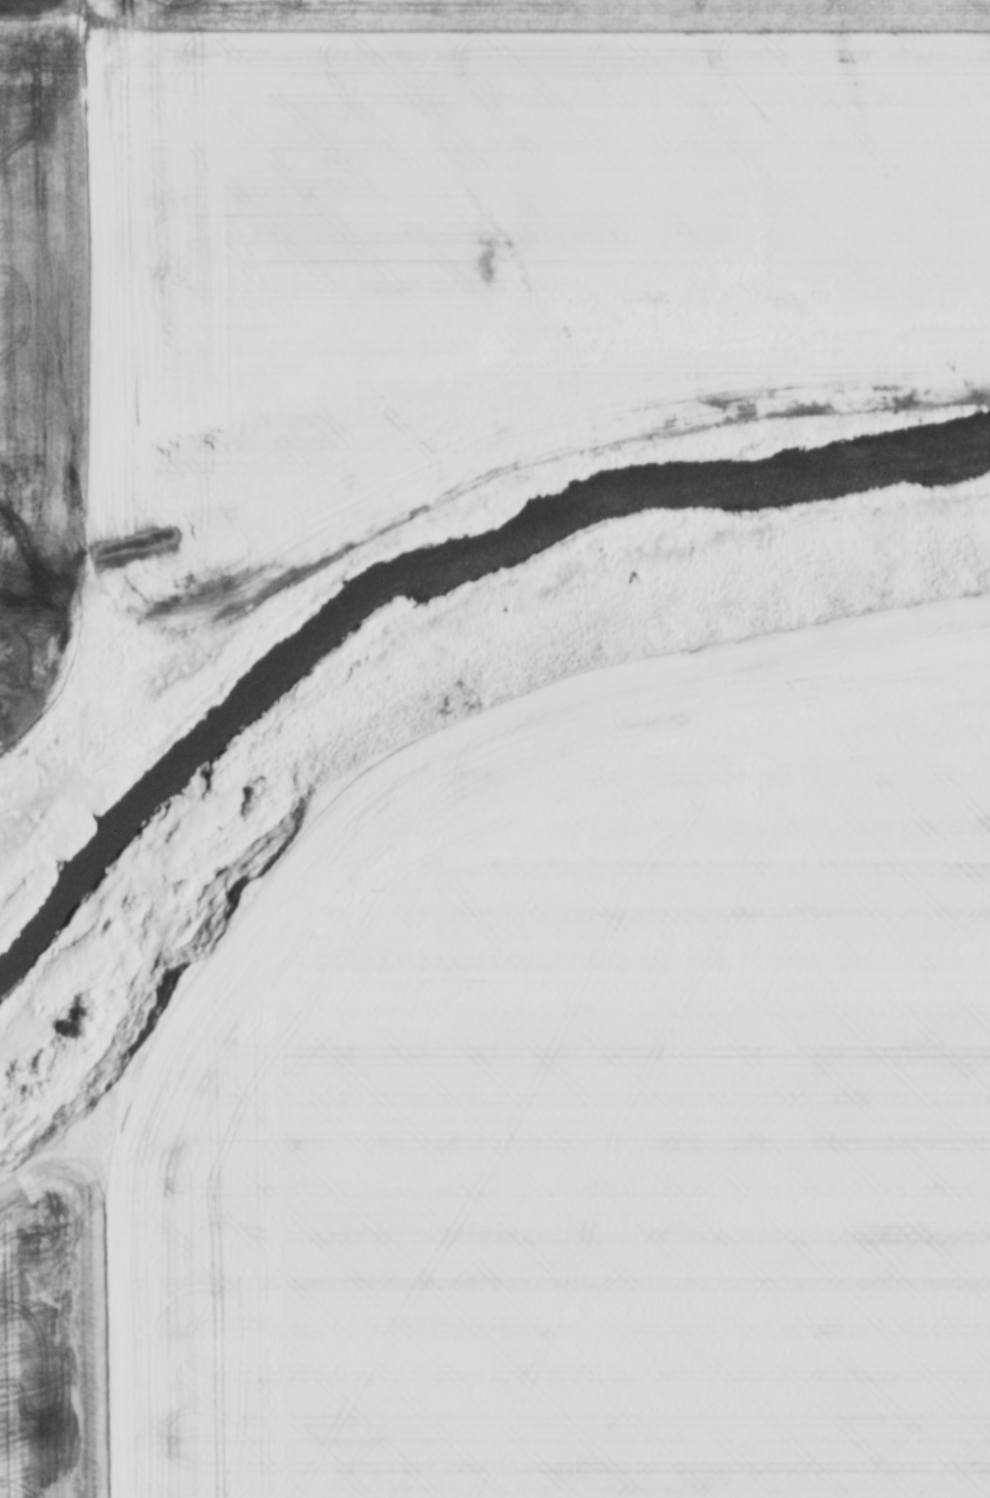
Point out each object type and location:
crop: (546, 11)
crop: (498, 259)
river: (420, 572)
crop: (595, 1107)

